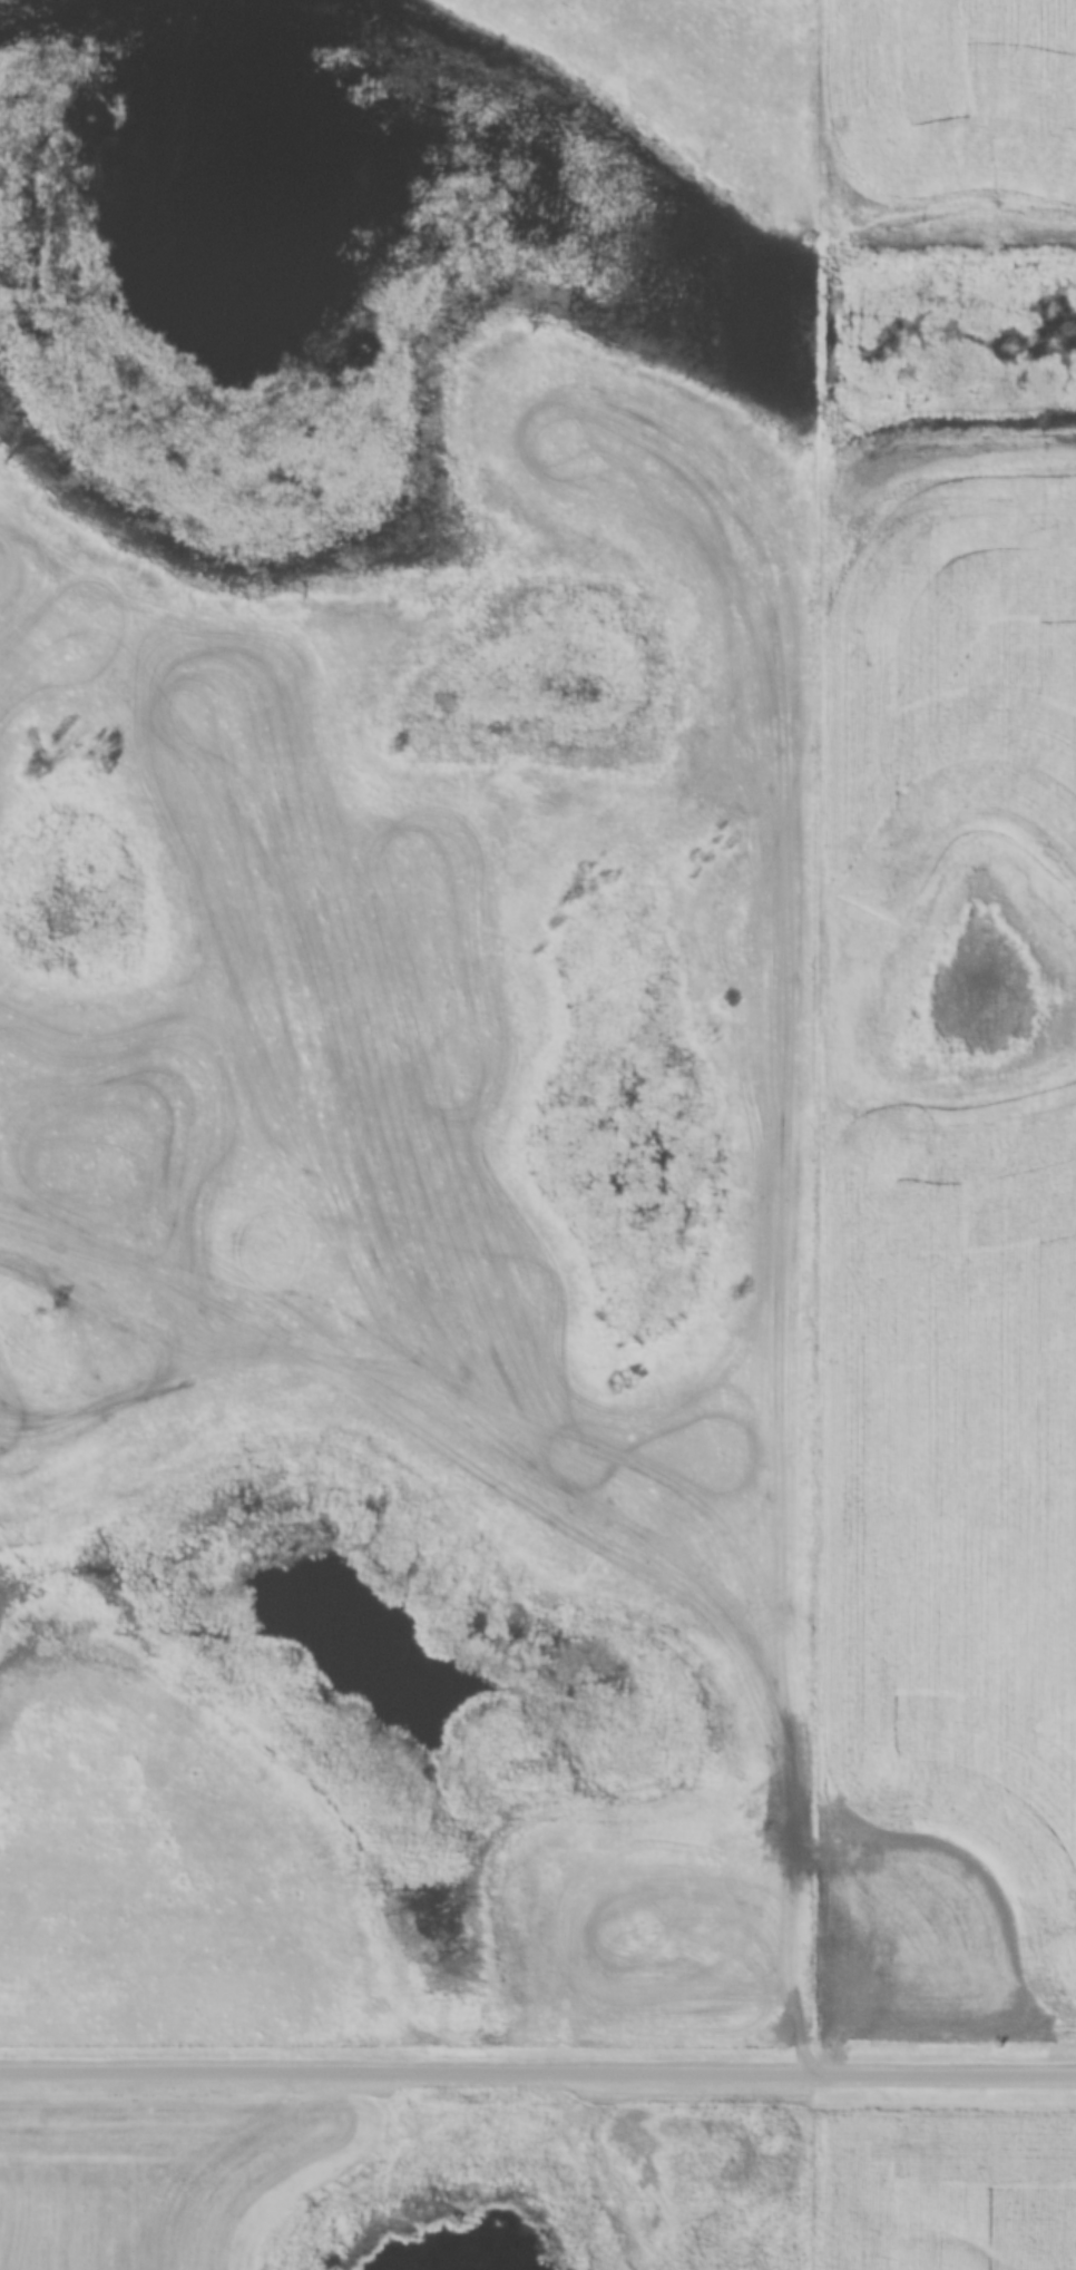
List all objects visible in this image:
road: (538, 2077)

